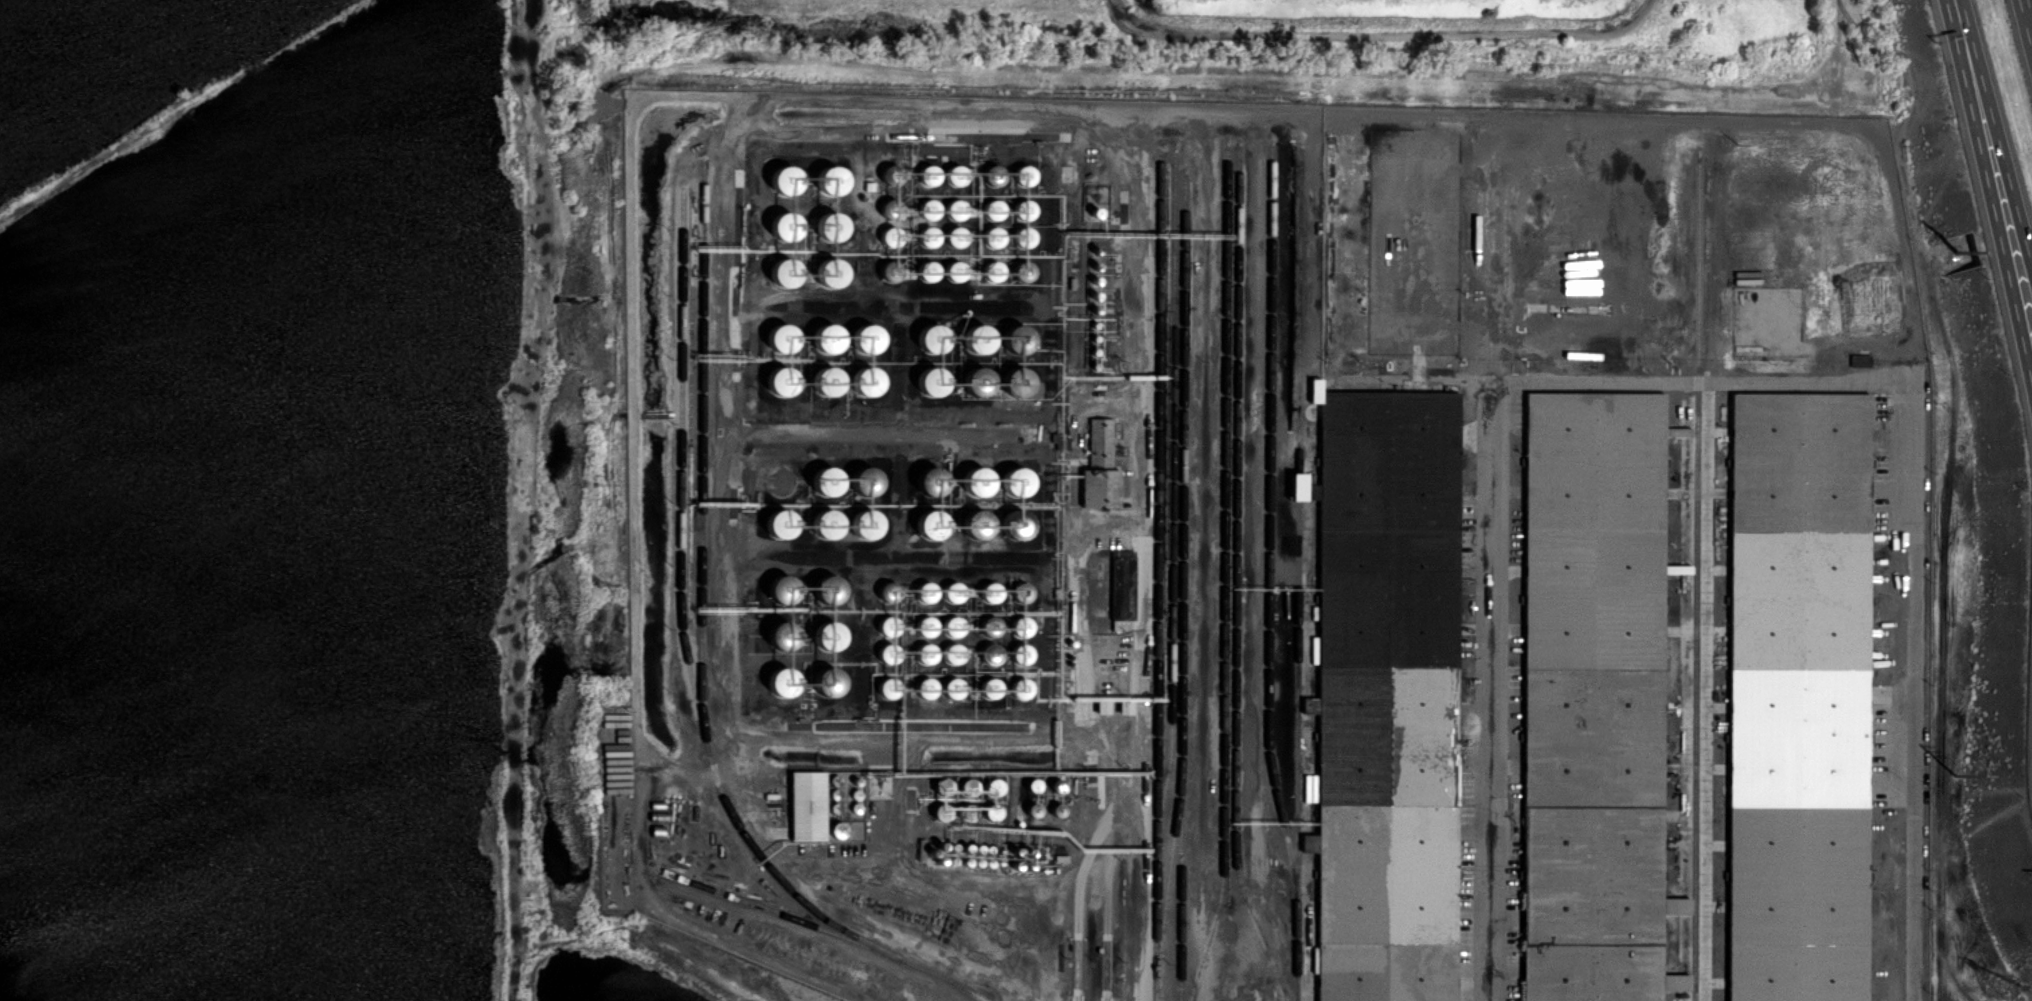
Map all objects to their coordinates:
road: (2028, 12)
road: (1383, 35)
road: (1997, 131)
building: (931, 174)
building: (956, 175)
building: (994, 175)
building: (1025, 175)
building: (785, 180)
building: (831, 180)
road: (1989, 191)
building: (993, 208)
building: (956, 209)
building: (785, 226)
building: (831, 226)
building: (956, 236)
building: (993, 236)
building: (929, 237)
power tower: (1960, 252)
building: (957, 270)
building: (891, 271)
building: (929, 271)
building: (994, 271)
building: (785, 272)
building: (831, 272)
building: (782, 336)
building: (828, 336)
building: (933, 337)
building: (868, 338)
building: (979, 338)
building: (782, 380)
building: (828, 380)
building: (868, 380)
building: (933, 380)
building: (978, 380)
building: (1345, 411)
railway: (703, 456)
building: (1564, 461)
building: (1101, 467)
railway: (1184, 470)
building: (828, 480)
building: (867, 481)
building: (933, 481)
building: (978, 481)
building: (1018, 481)
building: (1299, 486)
road: (1496, 487)
park: (292, 499)
railway: (1174, 509)
building: (867, 522)
building: (782, 523)
building: (828, 523)
building: (977, 523)
building: (934, 524)
building: (1018, 524)
railway: (1271, 532)
railway: (1301, 573)
railway: (1226, 574)
railway: (1159, 575)
railway: (1237, 576)
railway: (1698, 580)
building: (783, 587)
building: (830, 589)
building: (1123, 589)
building: (890, 590)
building: (927, 591)
building: (955, 591)
building: (992, 592)
railway: (683, 623)
building: (954, 625)
building: (927, 626)
building: (777, 633)
building: (830, 635)
building: (887, 650)
building: (927, 653)
building: (954, 653)
building: (992, 653)
building: (783, 681)
building: (832, 683)
building: (927, 687)
building: (954, 687)
road: (1917, 688)
building: (1338, 745)
building: (1420, 773)
power tower: (1959, 775)
building: (809, 805)
building: (1035, 809)
building: (1311, 842)
railway: (1170, 883)
railway: (1182, 928)
railway: (825, 930)
building: (1447, 948)
power tower: (2001, 981)
building: (1685, 983)

